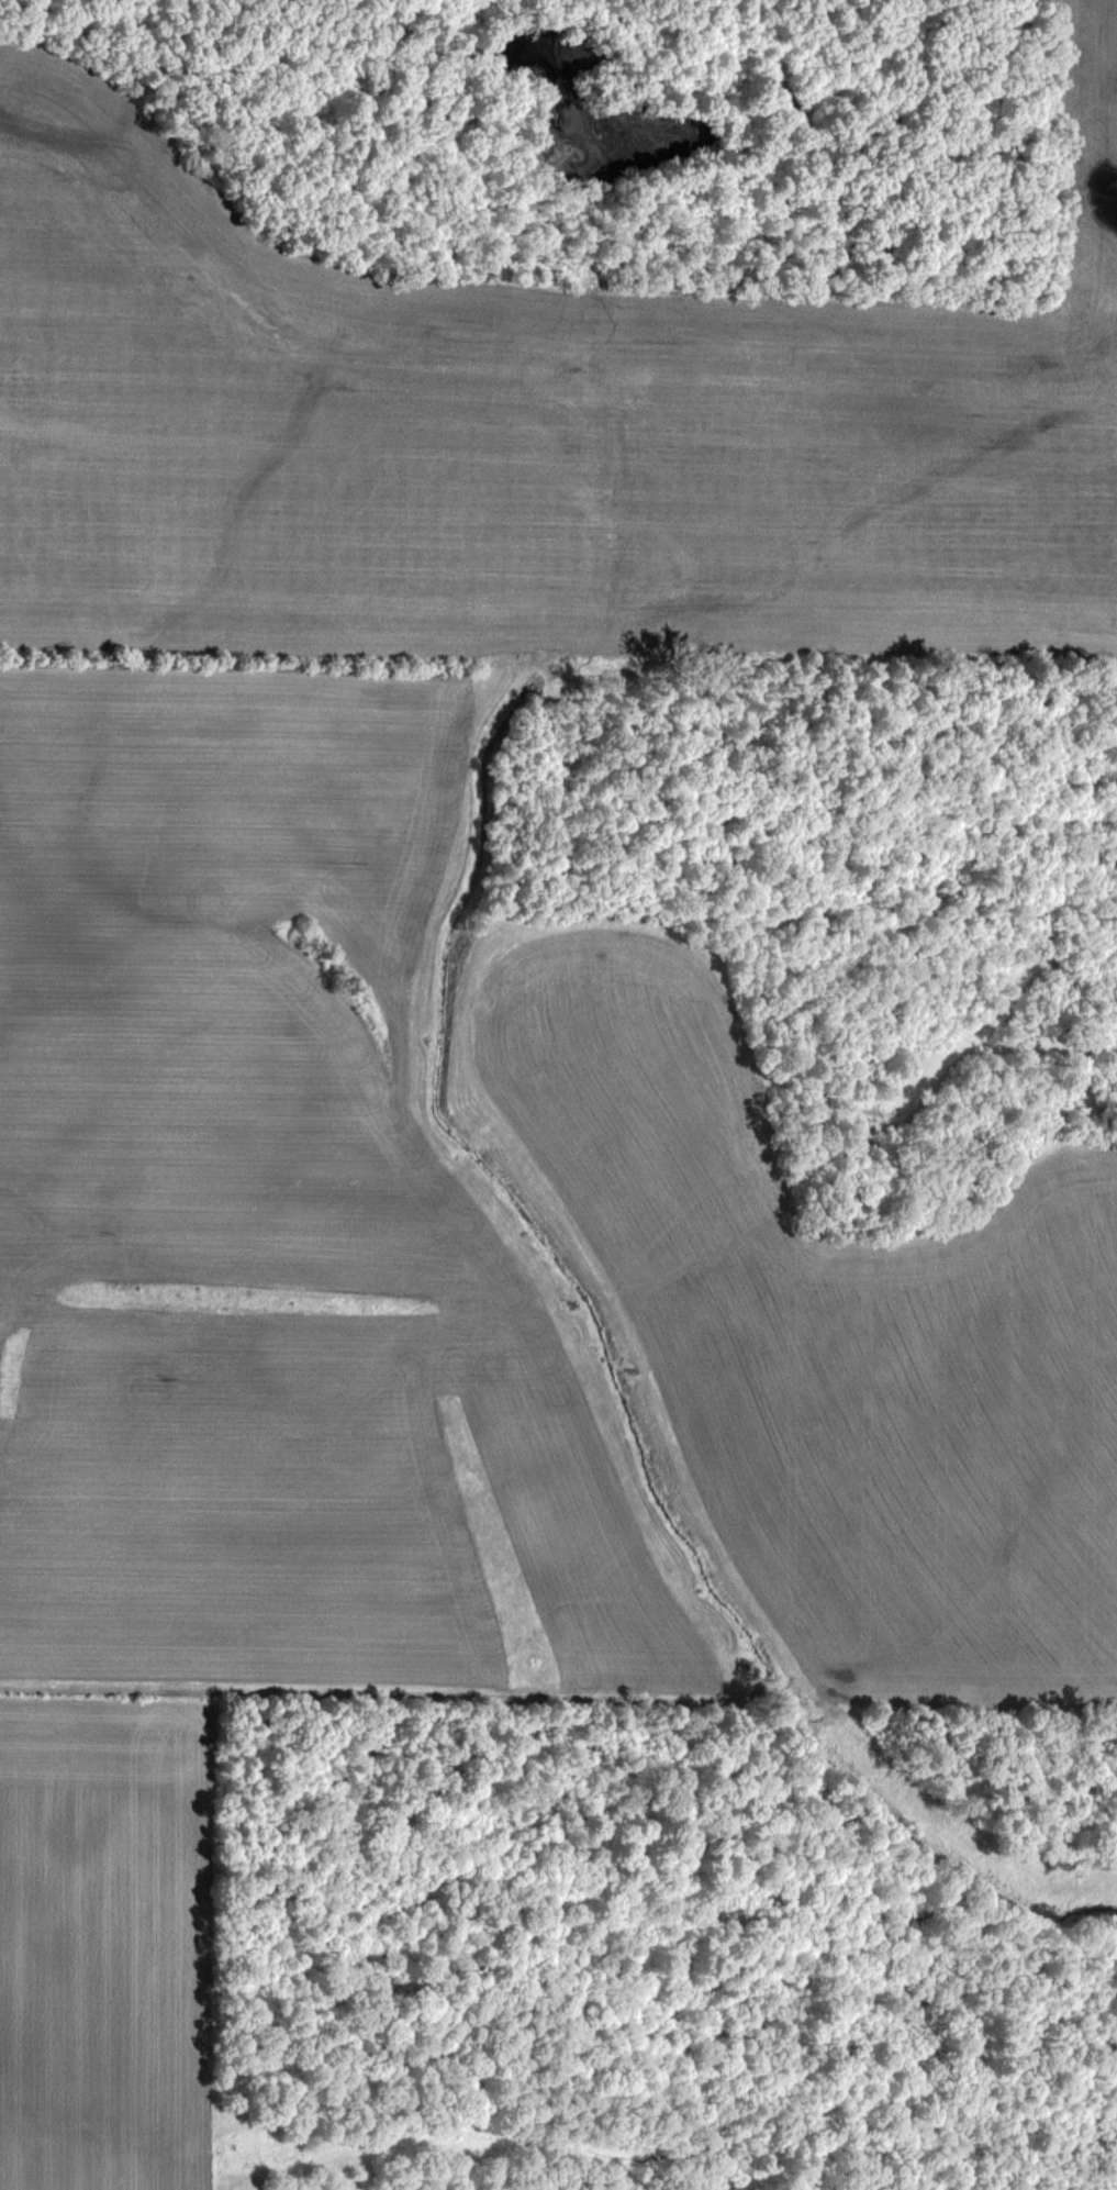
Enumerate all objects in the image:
crop: (558, 1094)

